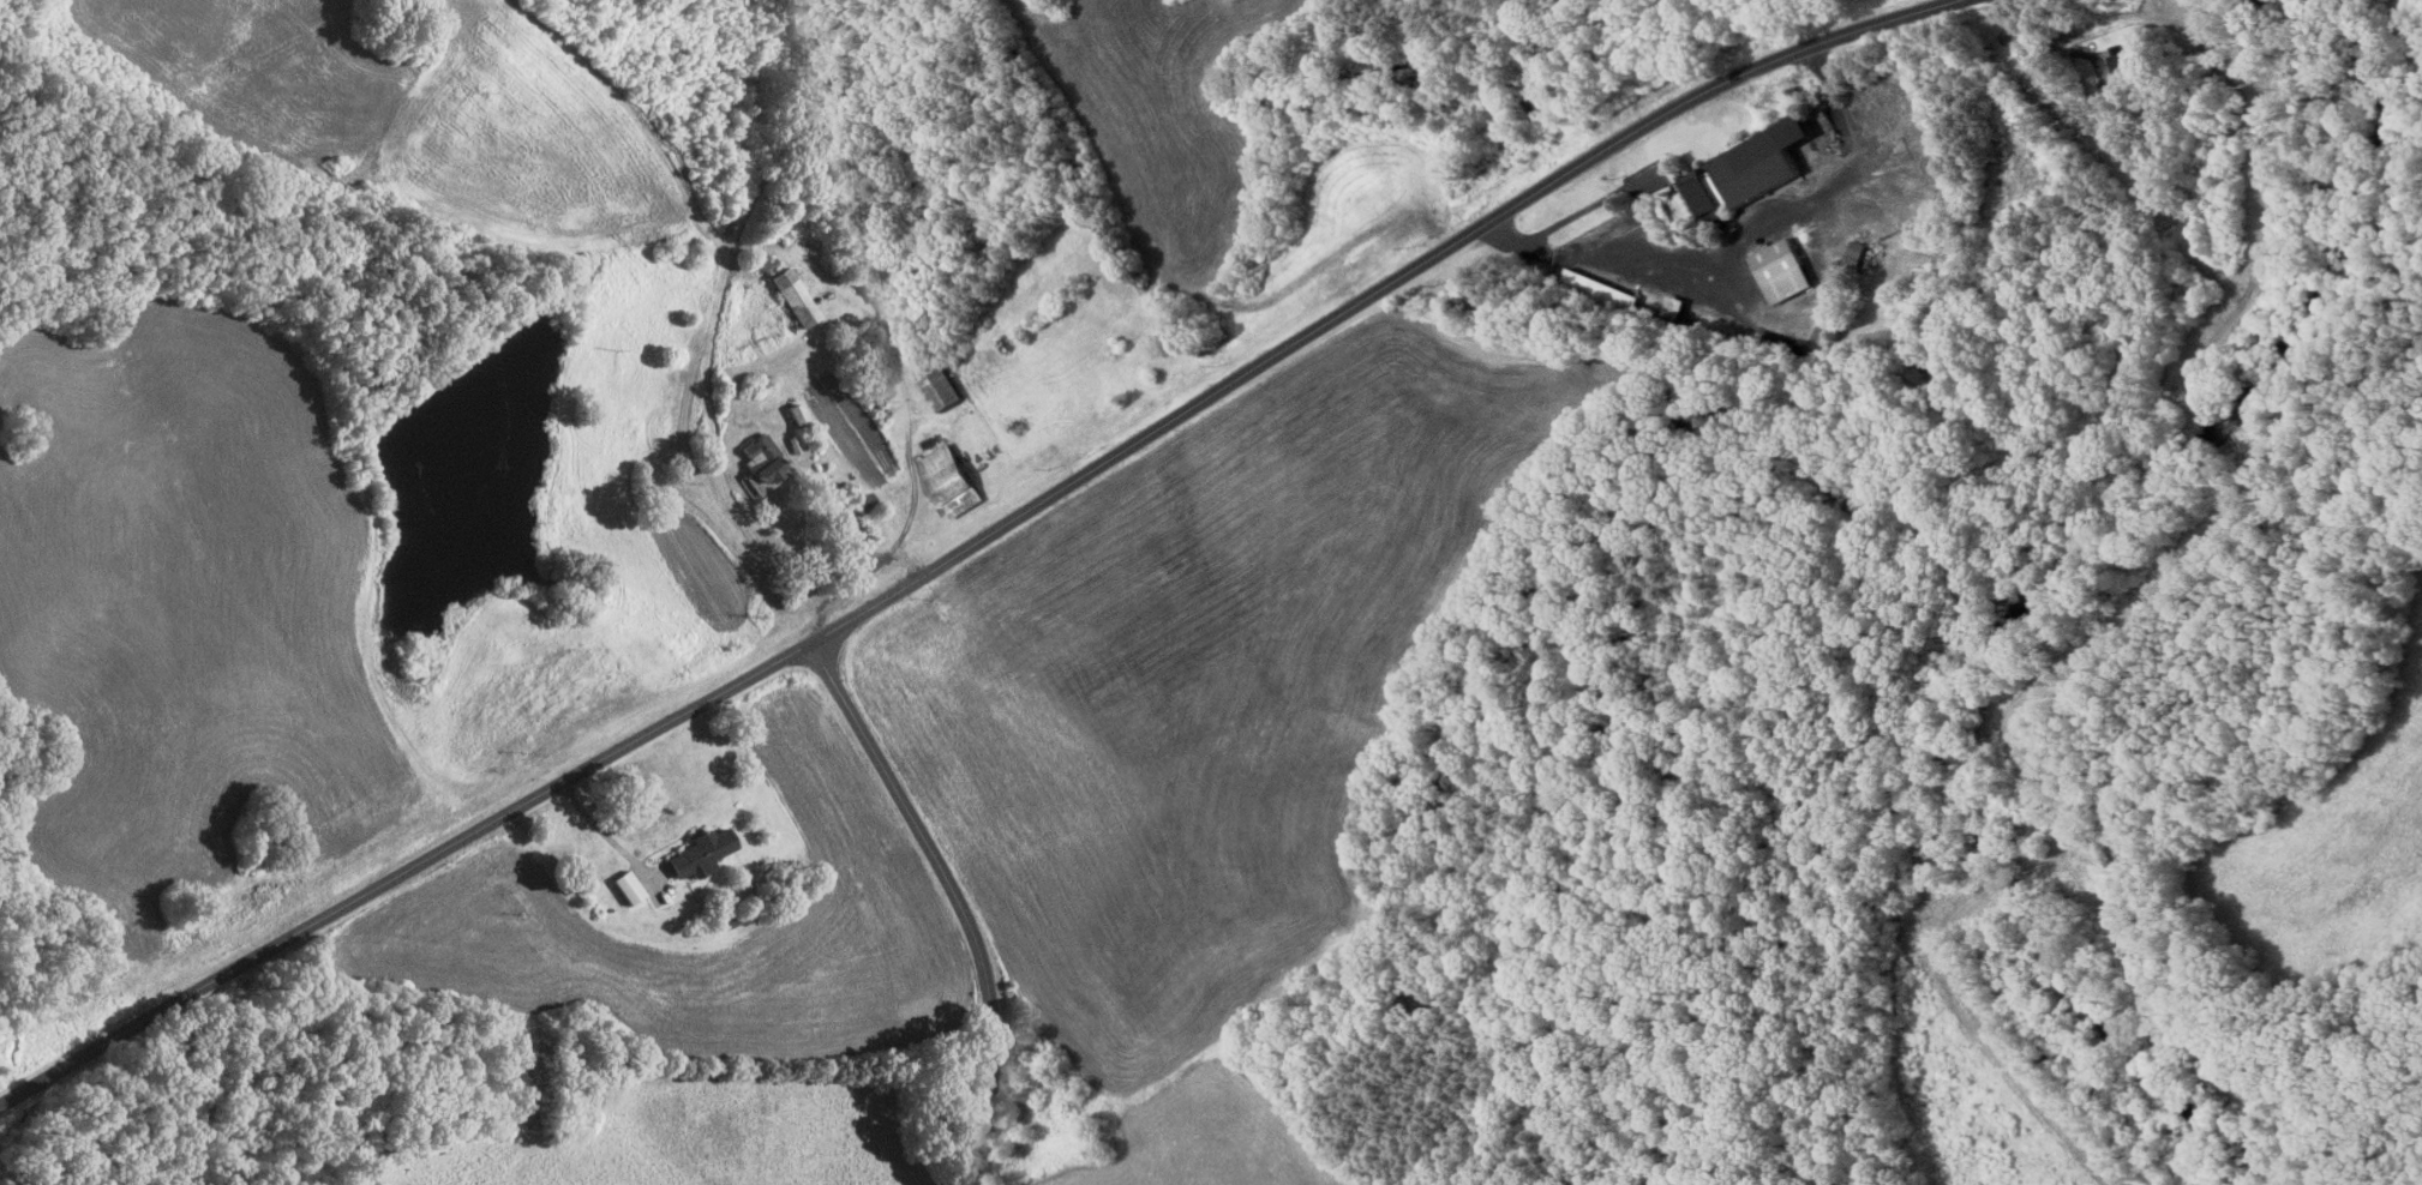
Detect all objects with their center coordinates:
building: (2117, 61)
building: (1746, 170)
building: (767, 264)
building: (1850, 264)
building: (1782, 270)
building: (1608, 296)
building: (791, 297)
building: (1672, 313)
building: (1689, 329)
building: (2111, 341)
building: (1741, 344)
building: (942, 389)
building: (2088, 391)
building: (793, 414)
building: (929, 441)
building: (791, 444)
road: (909, 461)
building: (760, 464)
building: (949, 480)
building: (859, 503)
road: (978, 535)
road: (909, 560)
road: (602, 832)
building: (697, 853)
building: (625, 888)
road: (953, 895)
building: (609, 909)
building: (729, 920)
road: (7, 1095)

